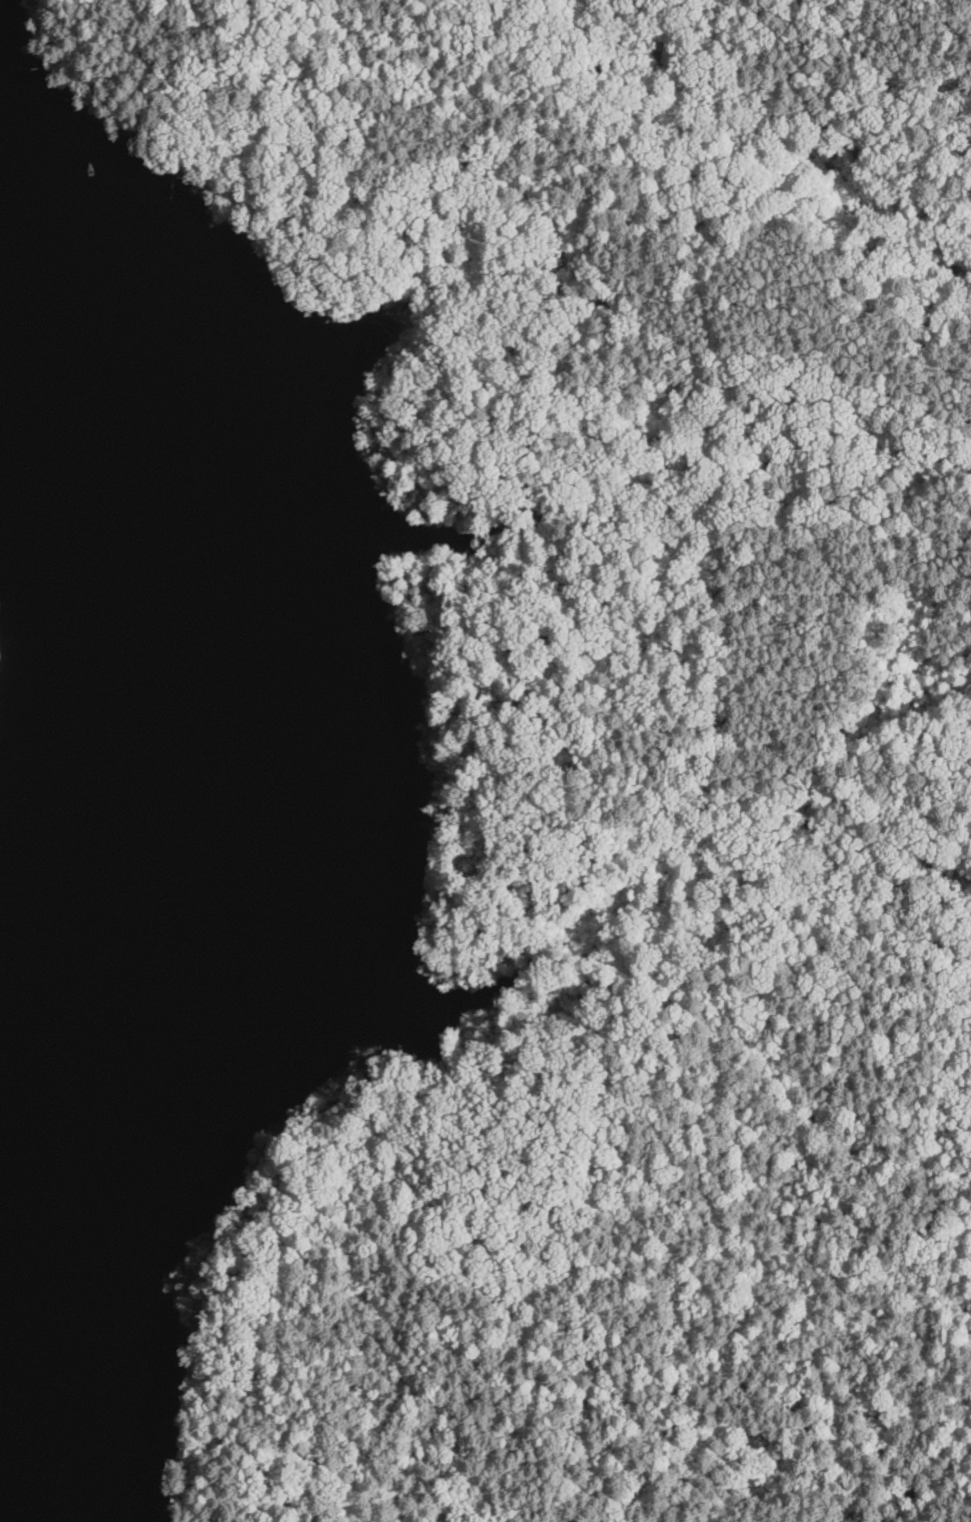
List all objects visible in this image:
park: (13, 690)
river: (95, 704)
park: (620, 756)

